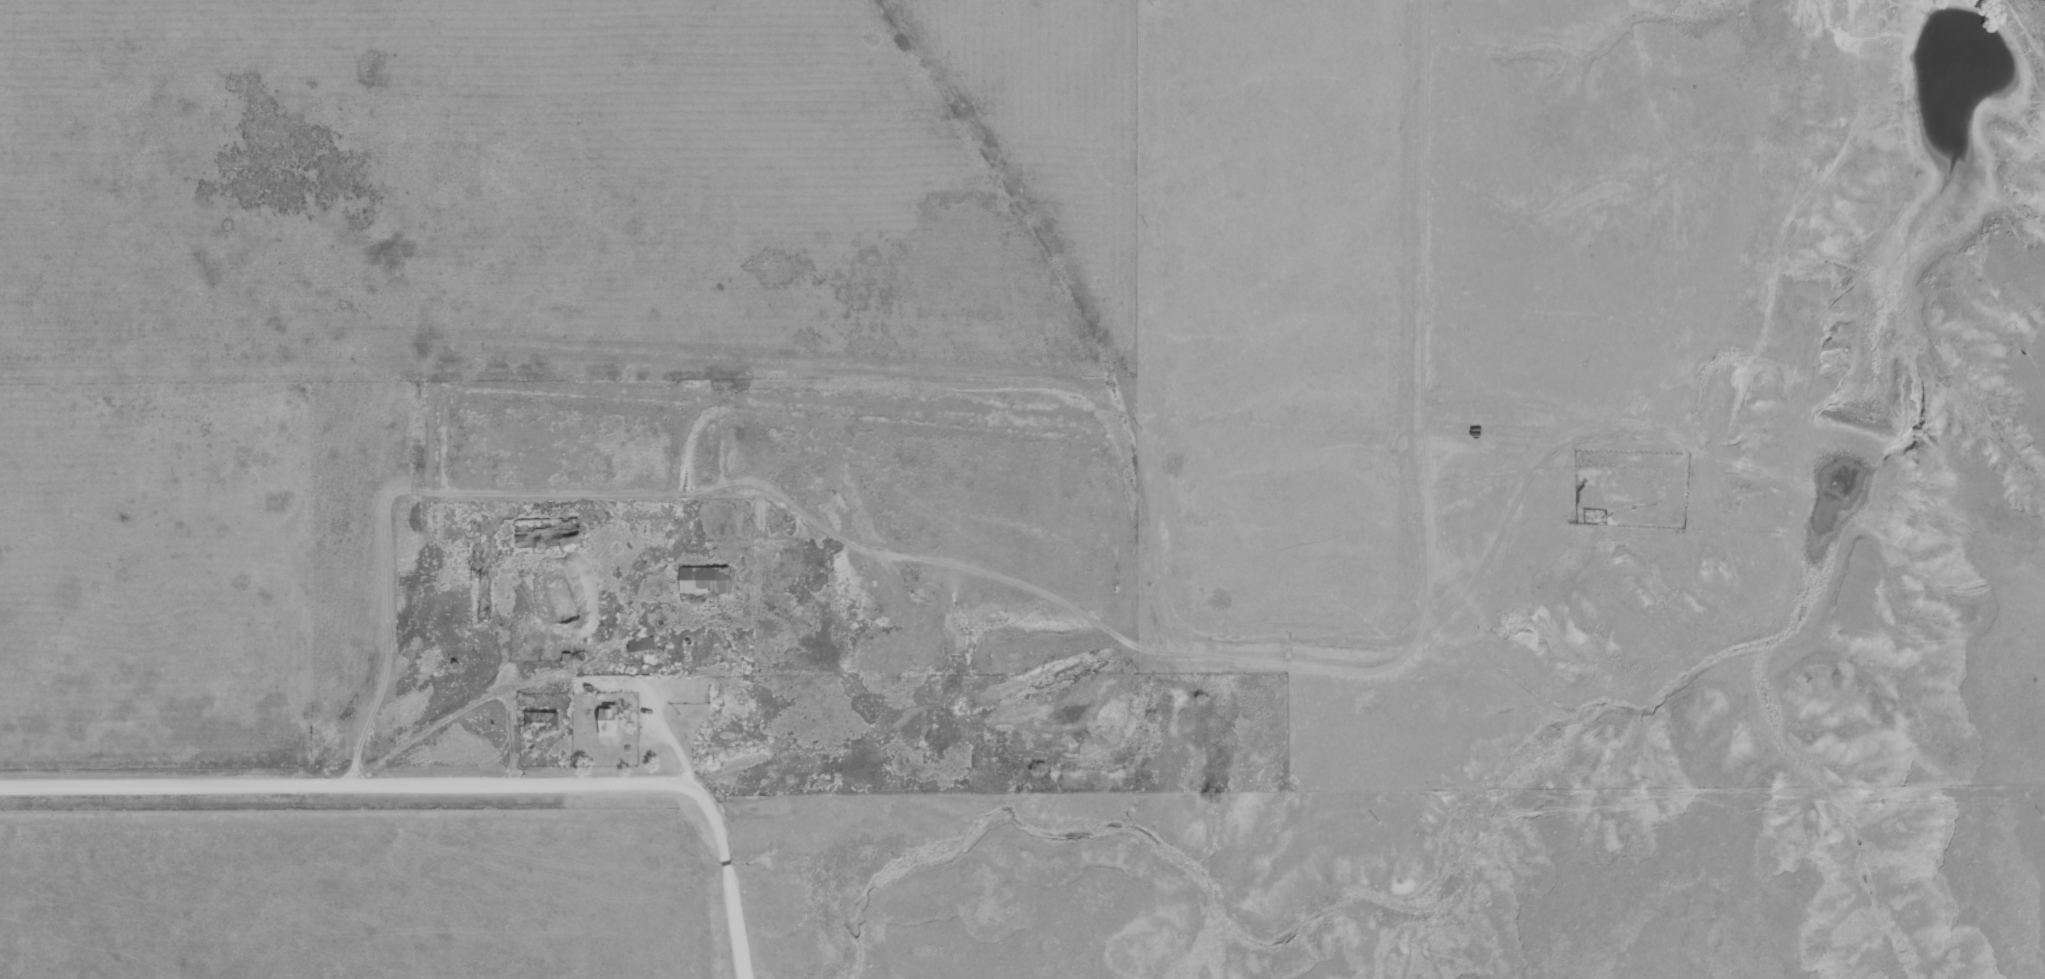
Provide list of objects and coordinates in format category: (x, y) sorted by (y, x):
road: (449, 782)

